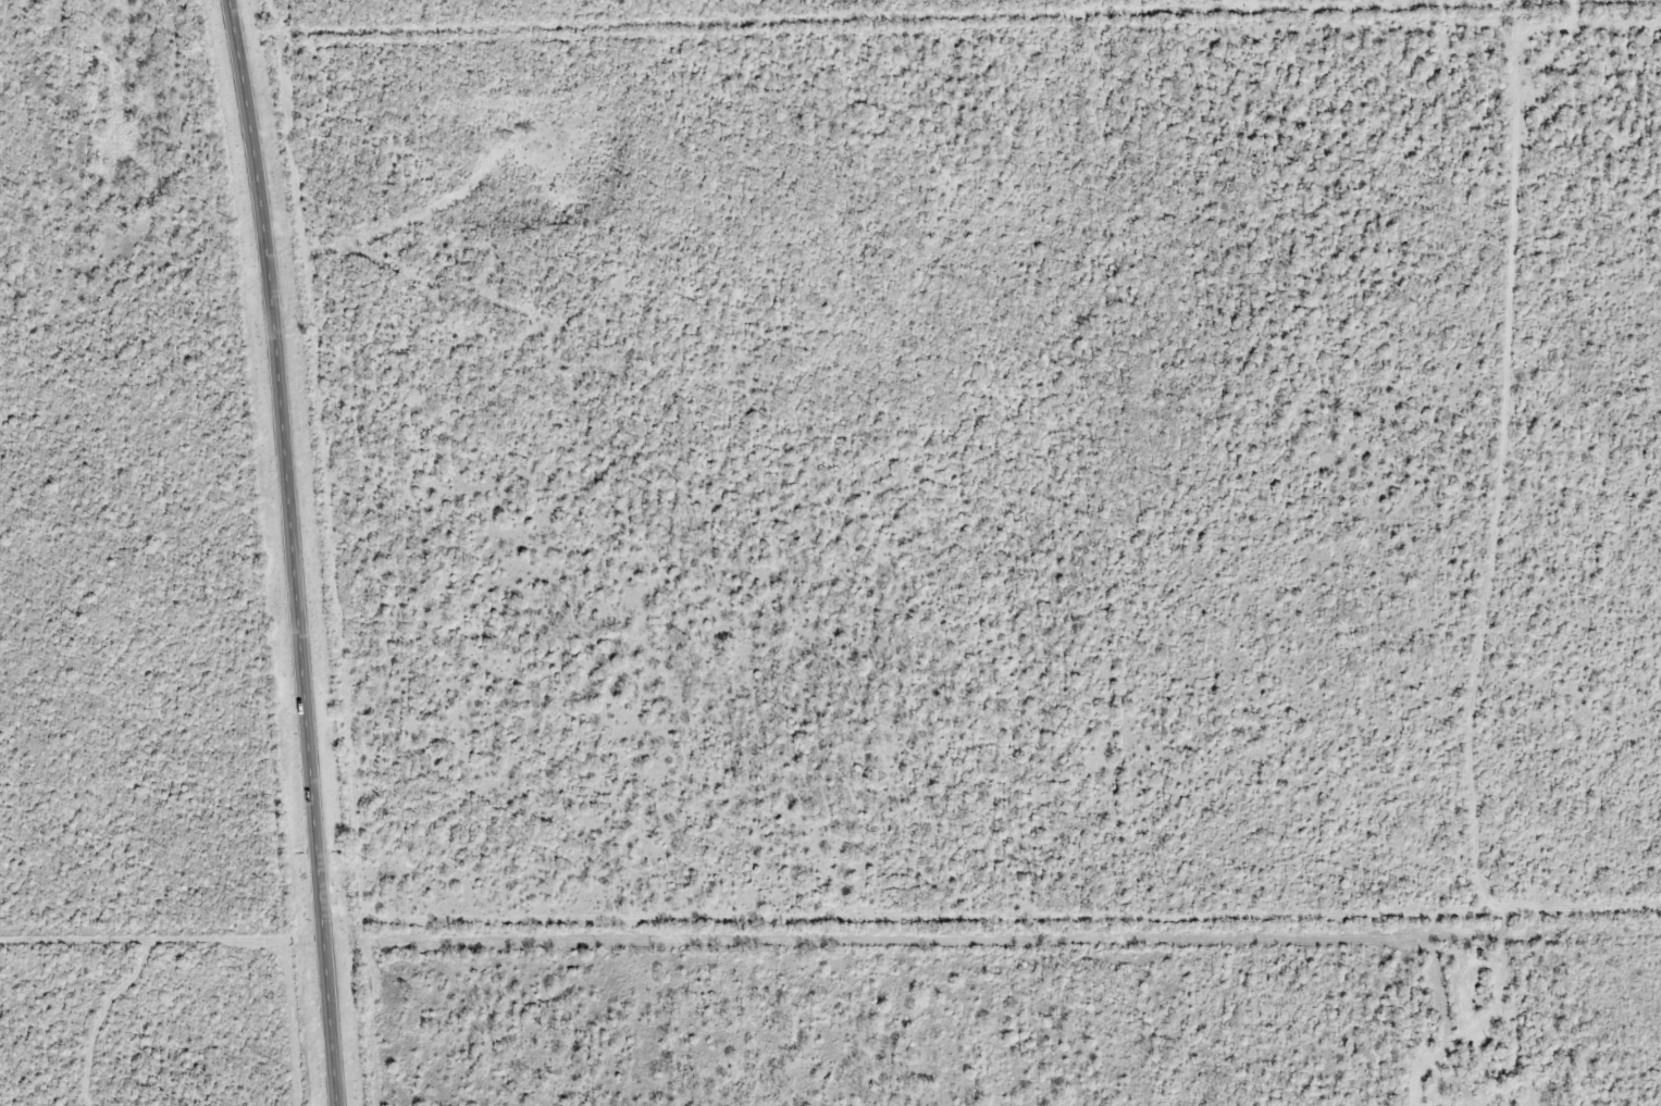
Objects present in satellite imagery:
road: (292, 551)

